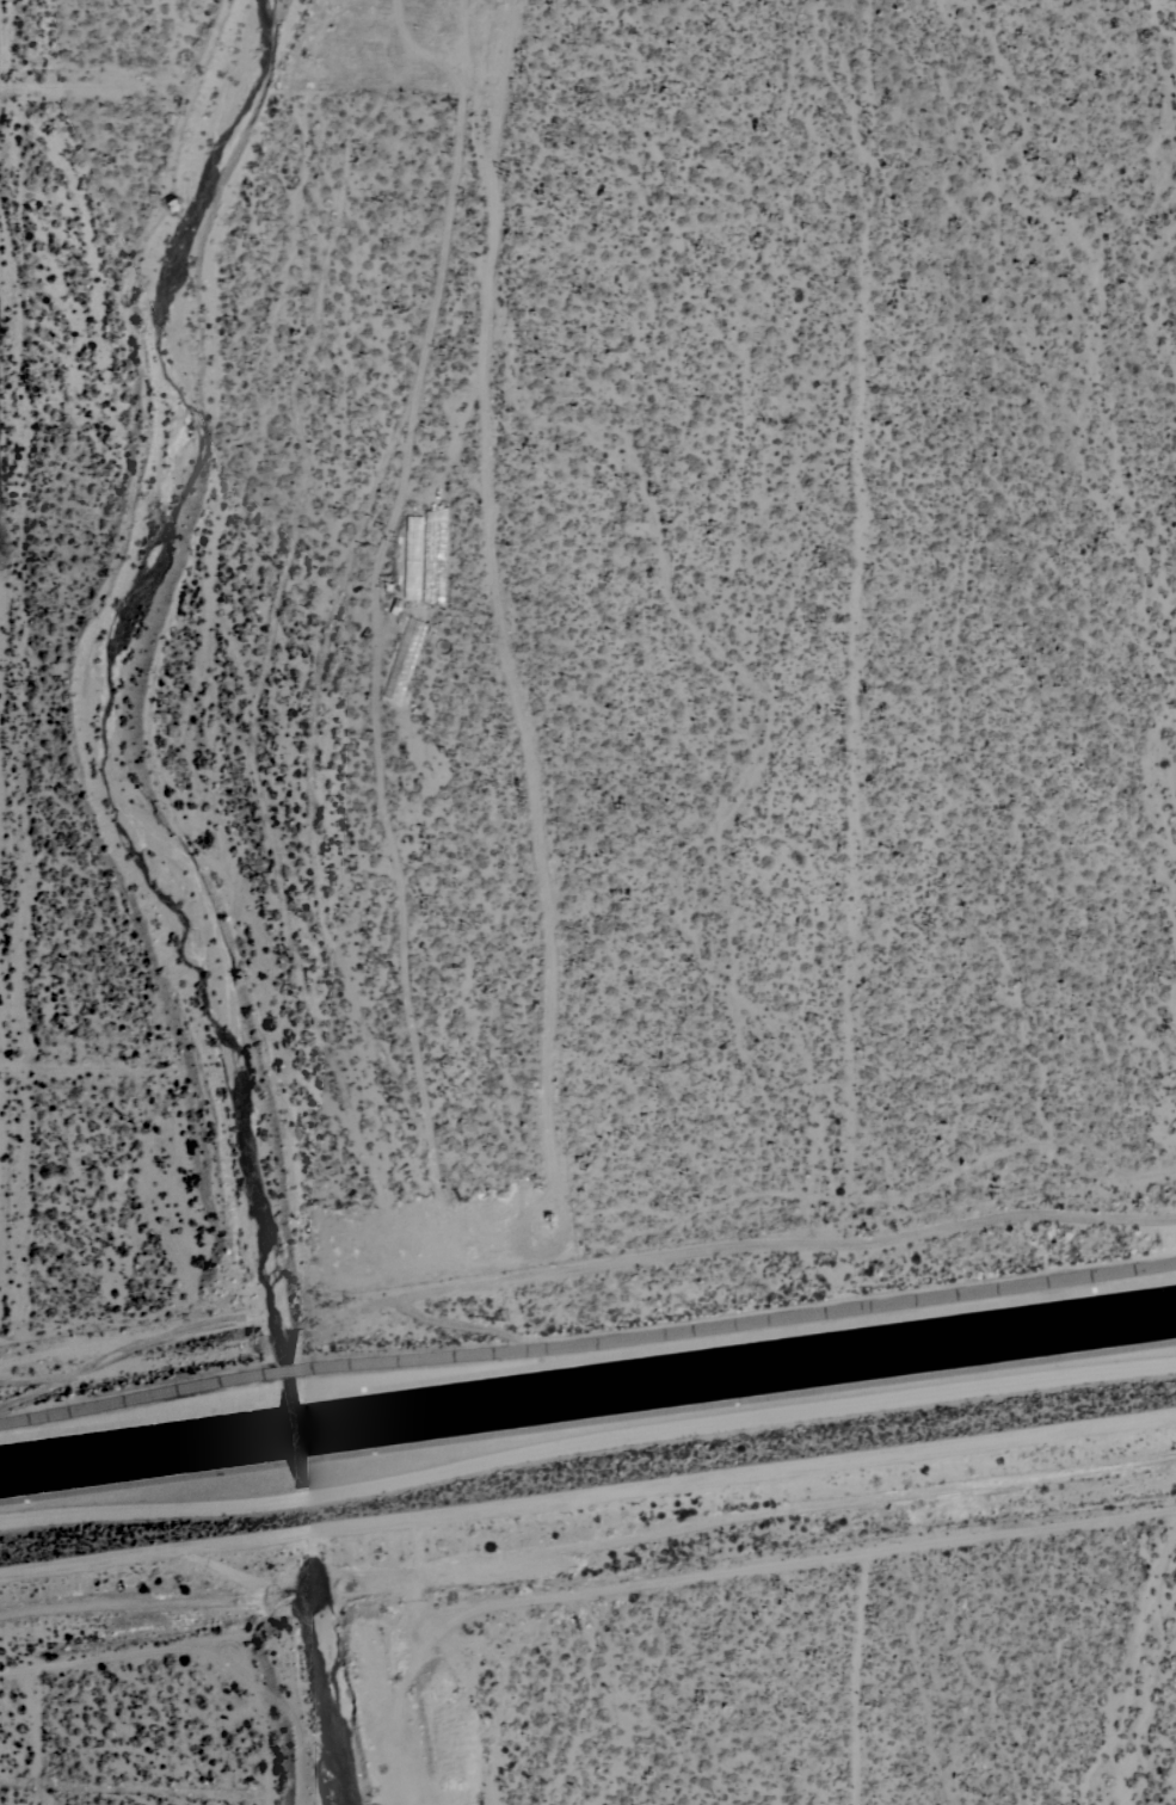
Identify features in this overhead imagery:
road: (103, 85)
road: (4, 686)
road: (2, 1066)
road: (585, 1265)
road: (846, 1555)
road: (130, 1653)
road: (858, 1678)
road: (27, 1735)

